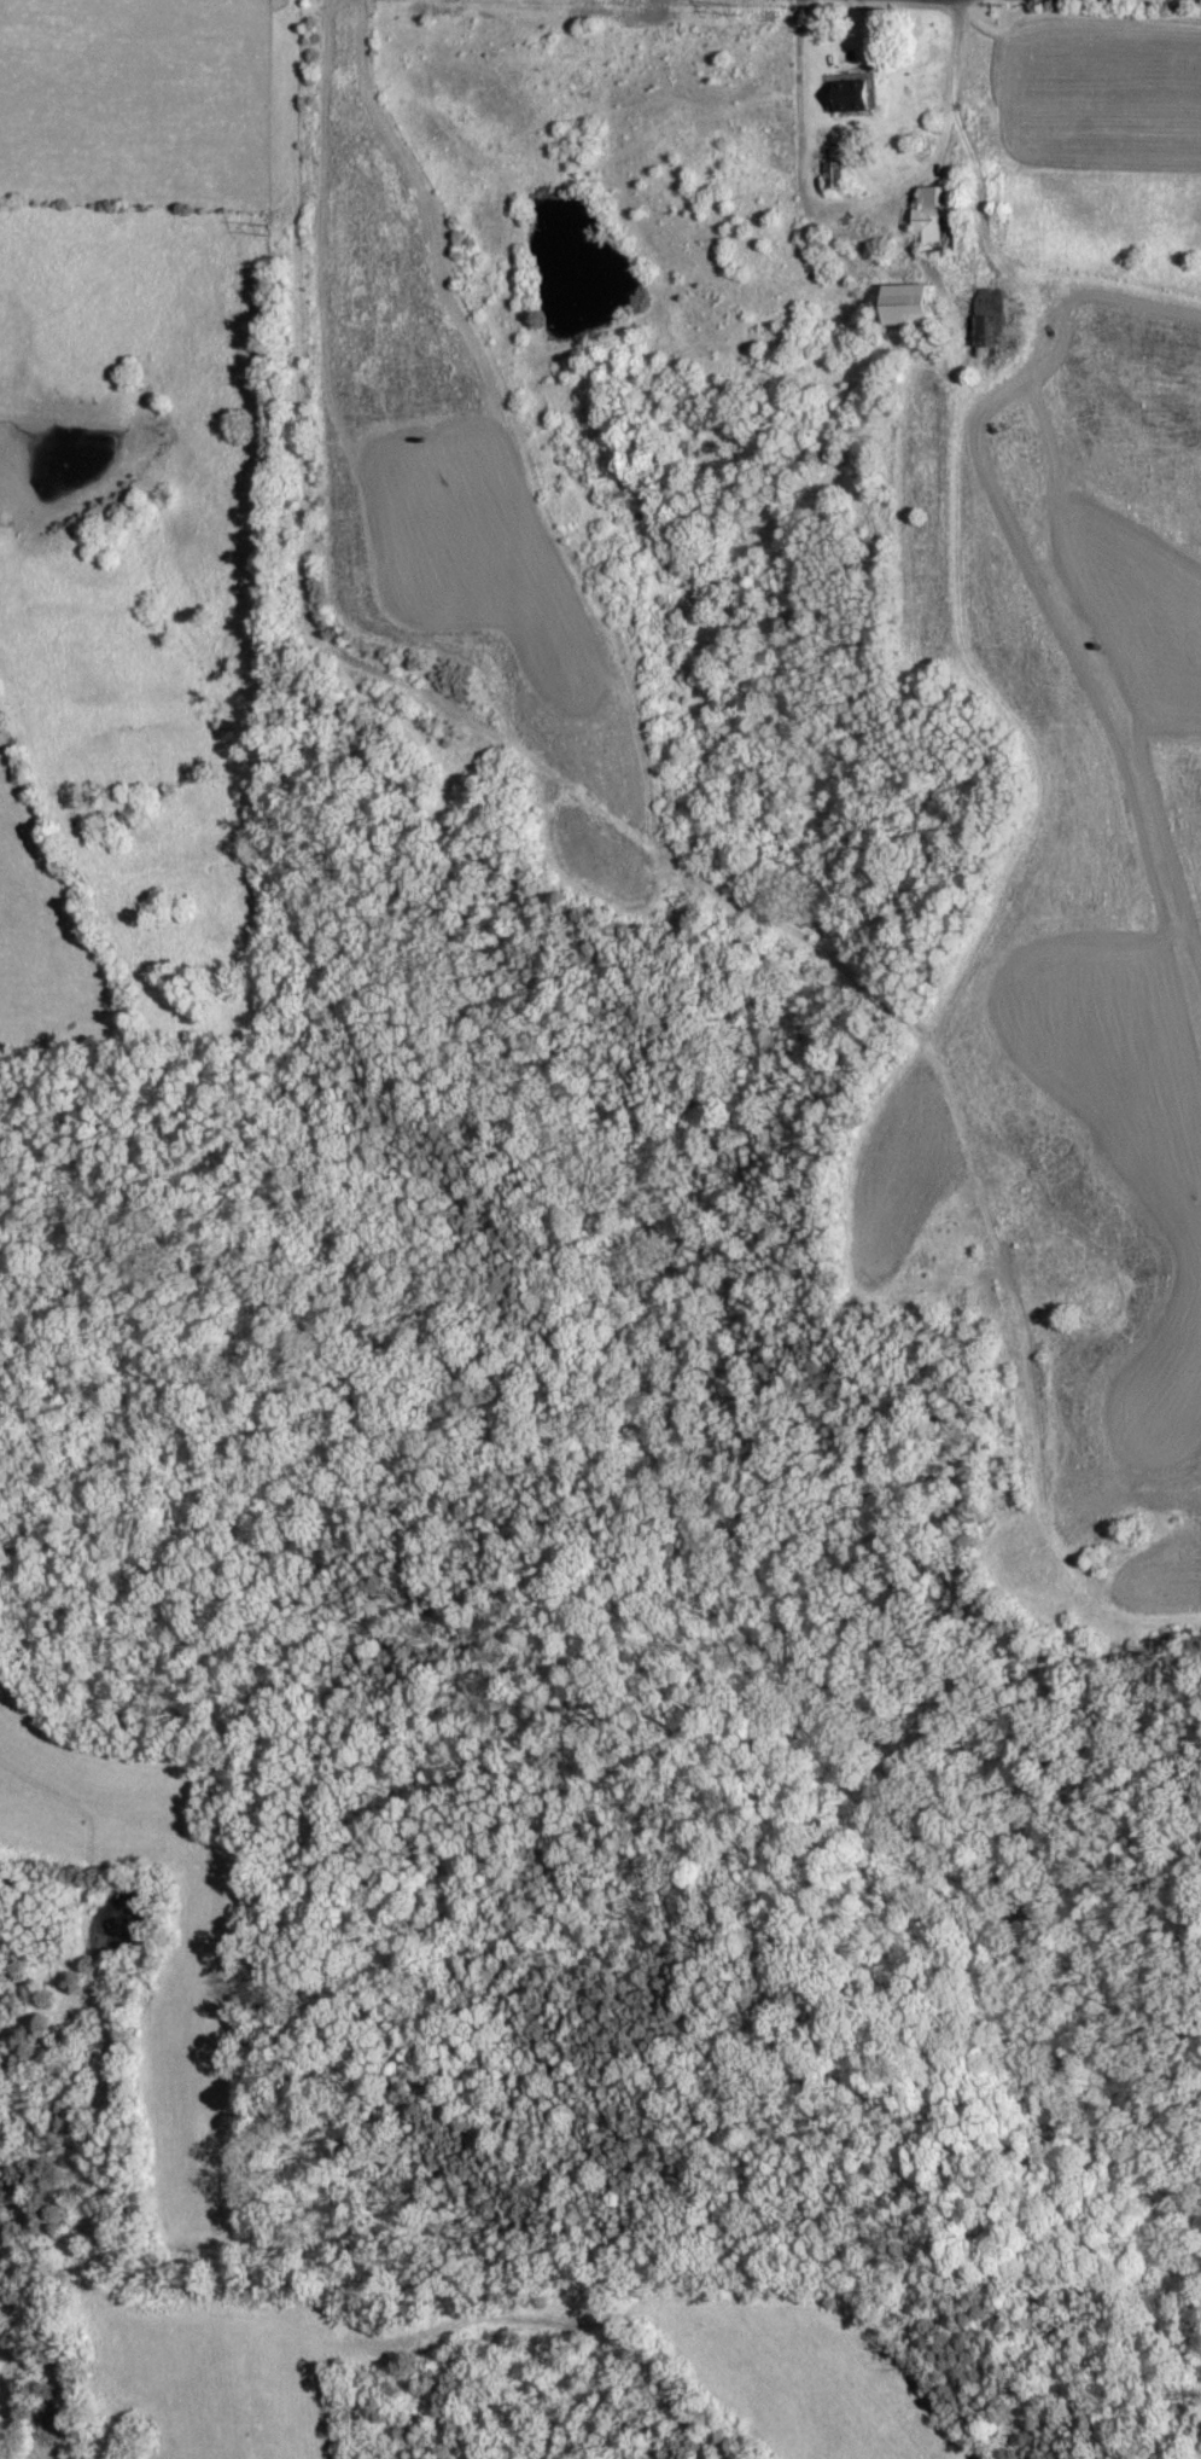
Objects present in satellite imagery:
power tower: (739, 12)
building: (856, 98)
building: (935, 219)
power tower: (273, 238)
building: (911, 306)

